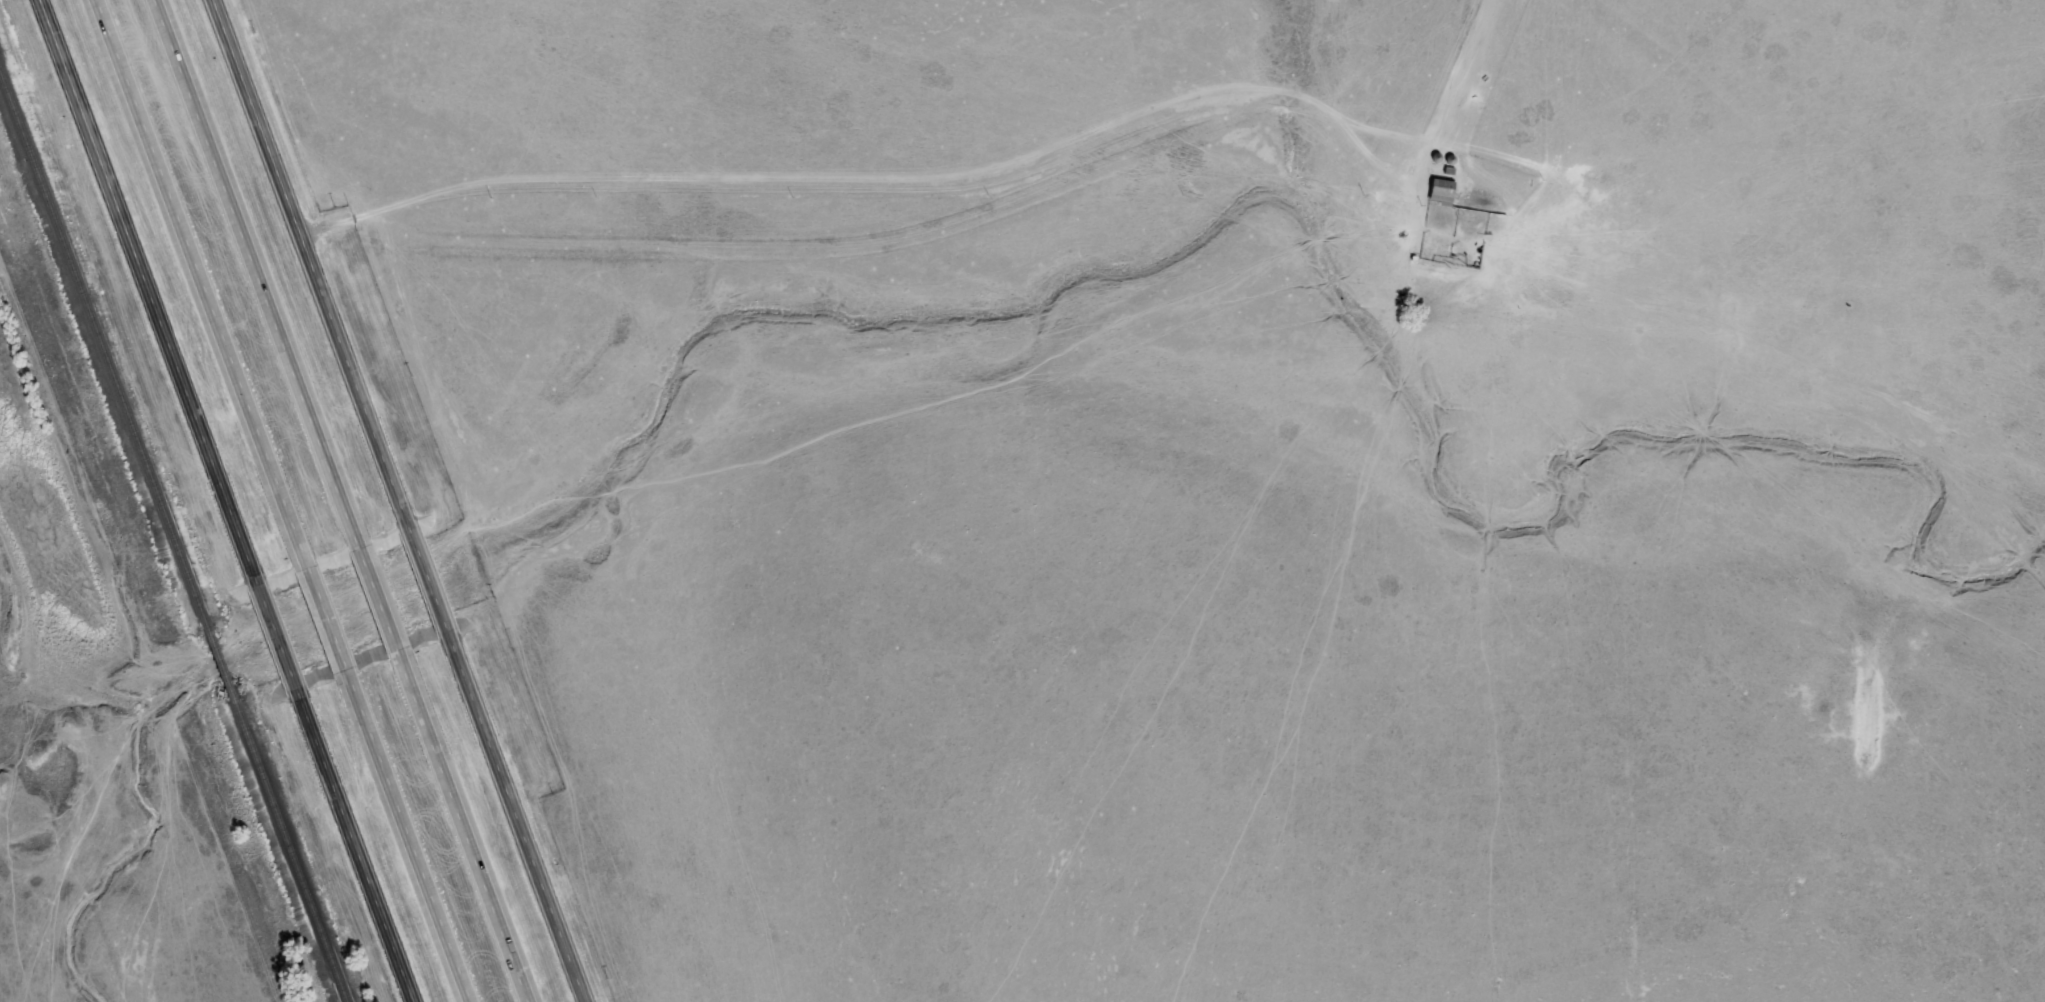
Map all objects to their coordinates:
building: (1440, 192)
road: (311, 256)
road: (256, 266)
road: (200, 276)
road: (148, 285)
railway: (106, 357)
road: (428, 573)
road: (377, 590)
road: (324, 612)
road: (276, 633)
railway: (223, 658)
road: (519, 818)
road: (465, 825)
road: (407, 836)
railway: (293, 841)
road: (359, 849)

